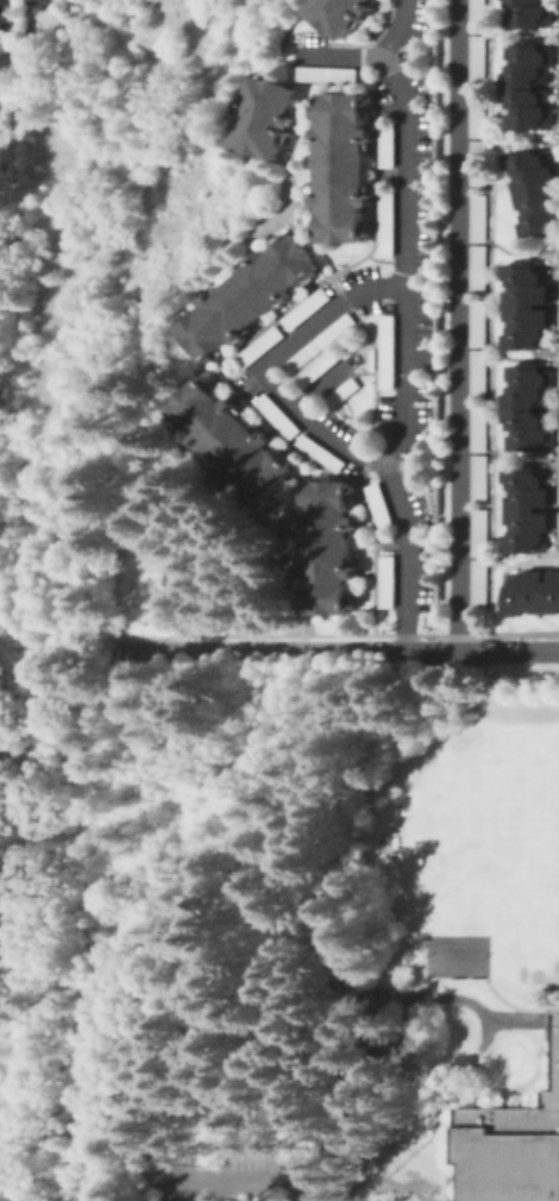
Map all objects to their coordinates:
building: (45, 0)
building: (2, 12)
building: (530, 13)
building: (340, 14)
building: (478, 15)
building: (6, 51)
road: (339, 57)
building: (478, 59)
building: (327, 74)
building: (529, 87)
building: (478, 114)
building: (266, 117)
building: (388, 145)
building: (478, 165)
building: (344, 168)
building: (534, 191)
building: (478, 219)
building: (388, 222)
building: (478, 270)
building: (250, 297)
building: (527, 307)
building: (307, 309)
building: (478, 325)
road: (404, 326)
road: (459, 326)
building: (558, 339)
building: (321, 344)
building: (262, 346)
building: (389, 352)
road: (272, 363)
building: (318, 370)
building: (478, 375)
building: (345, 392)
building: (529, 409)
building: (279, 415)
building: (478, 429)
building: (233, 439)
building: (322, 453)
building: (478, 479)
building: (381, 504)
building: (528, 510)
building: (482, 533)
building: (329, 547)
building: (389, 581)
building: (482, 584)
building: (533, 593)
road: (337, 647)
park: (546, 792)
park: (507, 823)
building: (458, 956)
road: (513, 1018)
building: (397, 1048)
road: (457, 1068)
building: (513, 1150)
road: (228, 1176)
road: (300, 1194)

